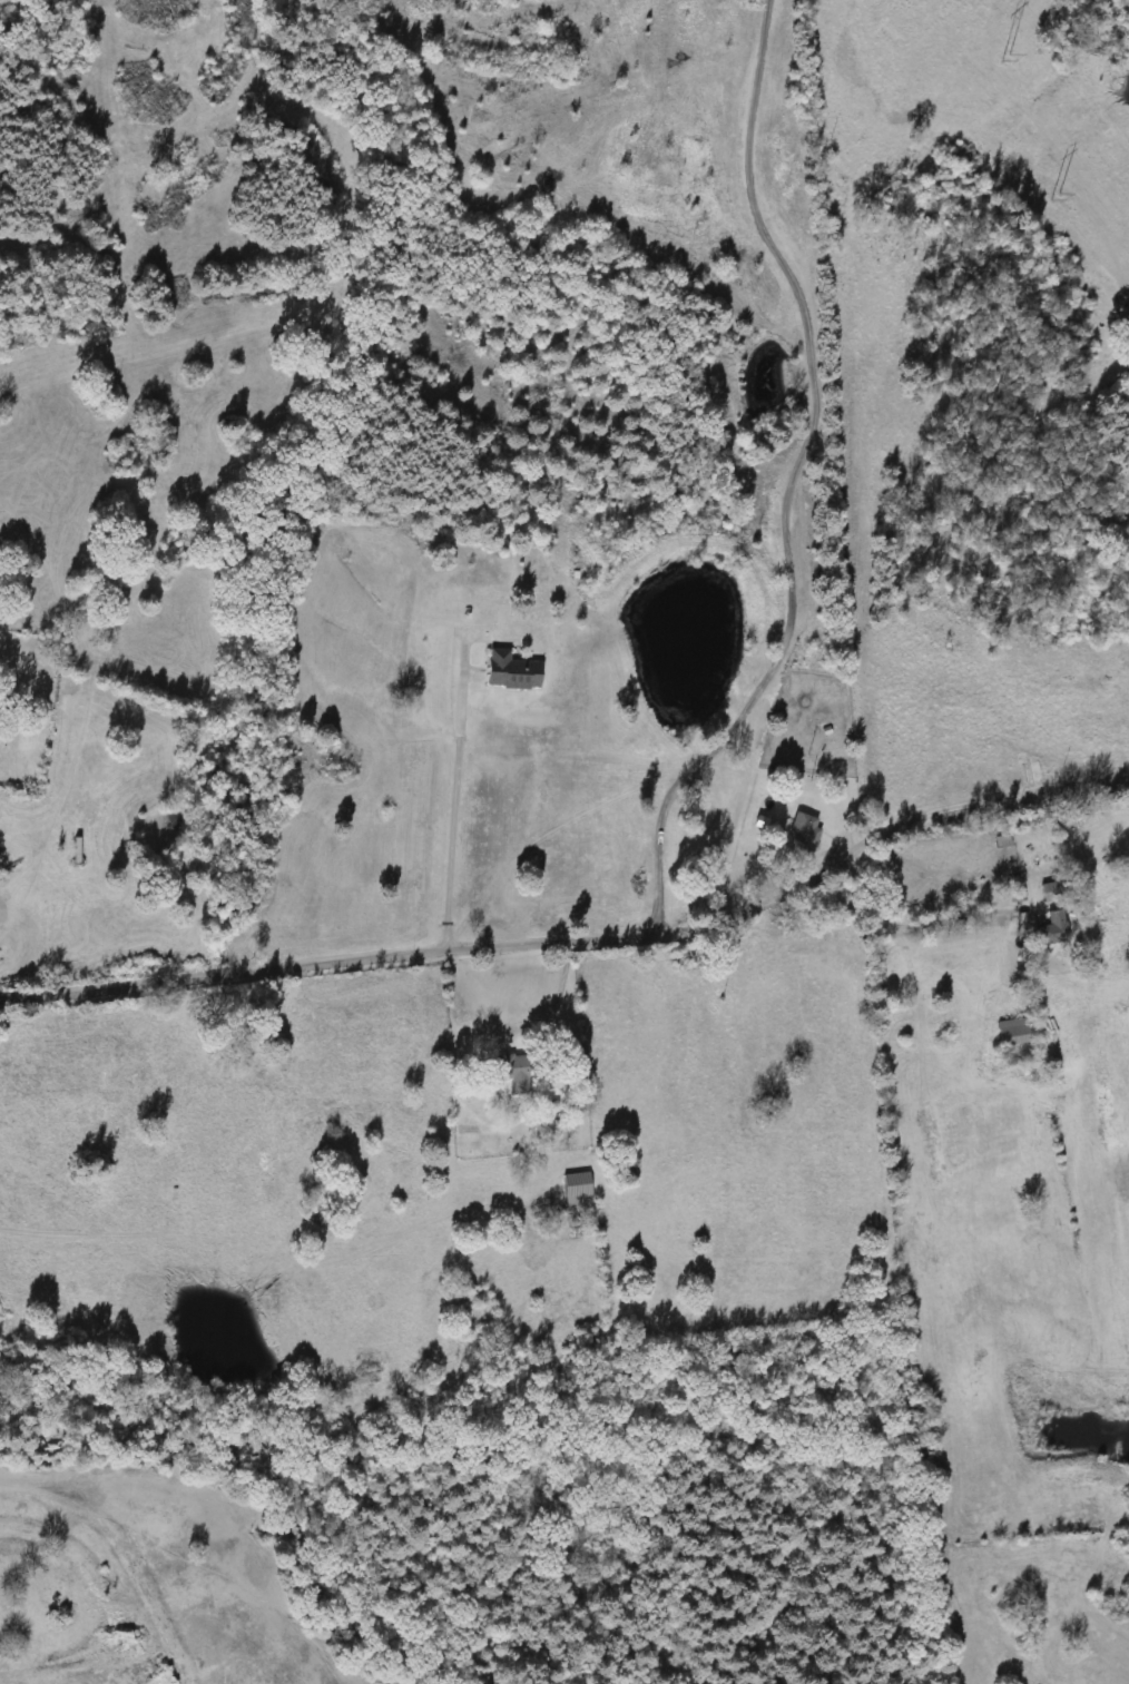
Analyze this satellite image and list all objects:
power tower: (984, 55)
road: (794, 480)
building: (507, 671)
road: (455, 800)
building: (803, 830)
building: (1014, 895)
road: (912, 924)
building: (1050, 928)
road: (579, 941)
building: (1012, 1032)

